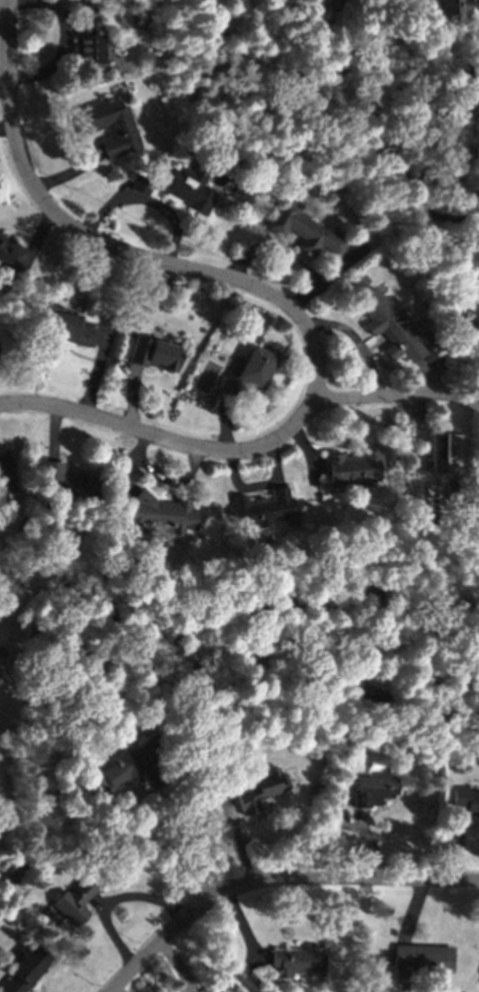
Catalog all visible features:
road: (49, 0)
building: (454, 6)
road: (4, 14)
building: (89, 44)
road: (61, 54)
building: (475, 55)
road: (4, 92)
building: (109, 125)
road: (6, 128)
road: (69, 173)
building: (179, 186)
road: (105, 208)
road: (165, 210)
building: (305, 229)
road: (34, 244)
road: (110, 246)
building: (7, 250)
road: (274, 252)
road: (327, 277)
building: (360, 281)
building: (390, 326)
building: (66, 327)
road: (357, 341)
building: (155, 353)
road: (97, 370)
building: (248, 372)
road: (429, 375)
road: (131, 396)
road: (224, 421)
road: (53, 431)
road: (465, 442)
road: (246, 448)
building: (442, 450)
road: (307, 451)
road: (127, 461)
road: (273, 464)
road: (317, 464)
building: (352, 467)
building: (4, 478)
road: (172, 480)
building: (67, 485)
road: (240, 486)
building: (455, 490)
building: (263, 508)
building: (162, 512)
building: (19, 716)
building: (318, 751)
building: (136, 763)
building: (259, 789)
building: (374, 790)
building: (347, 797)
building: (465, 799)
road: (181, 807)
road: (237, 839)
road: (369, 842)
road: (458, 844)
road: (273, 876)
building: (11, 884)
road: (110, 899)
building: (74, 902)
road: (412, 910)
road: (243, 929)
building: (424, 957)
building: (298, 960)
road: (177, 964)
building: (25, 970)
road: (115, 990)

